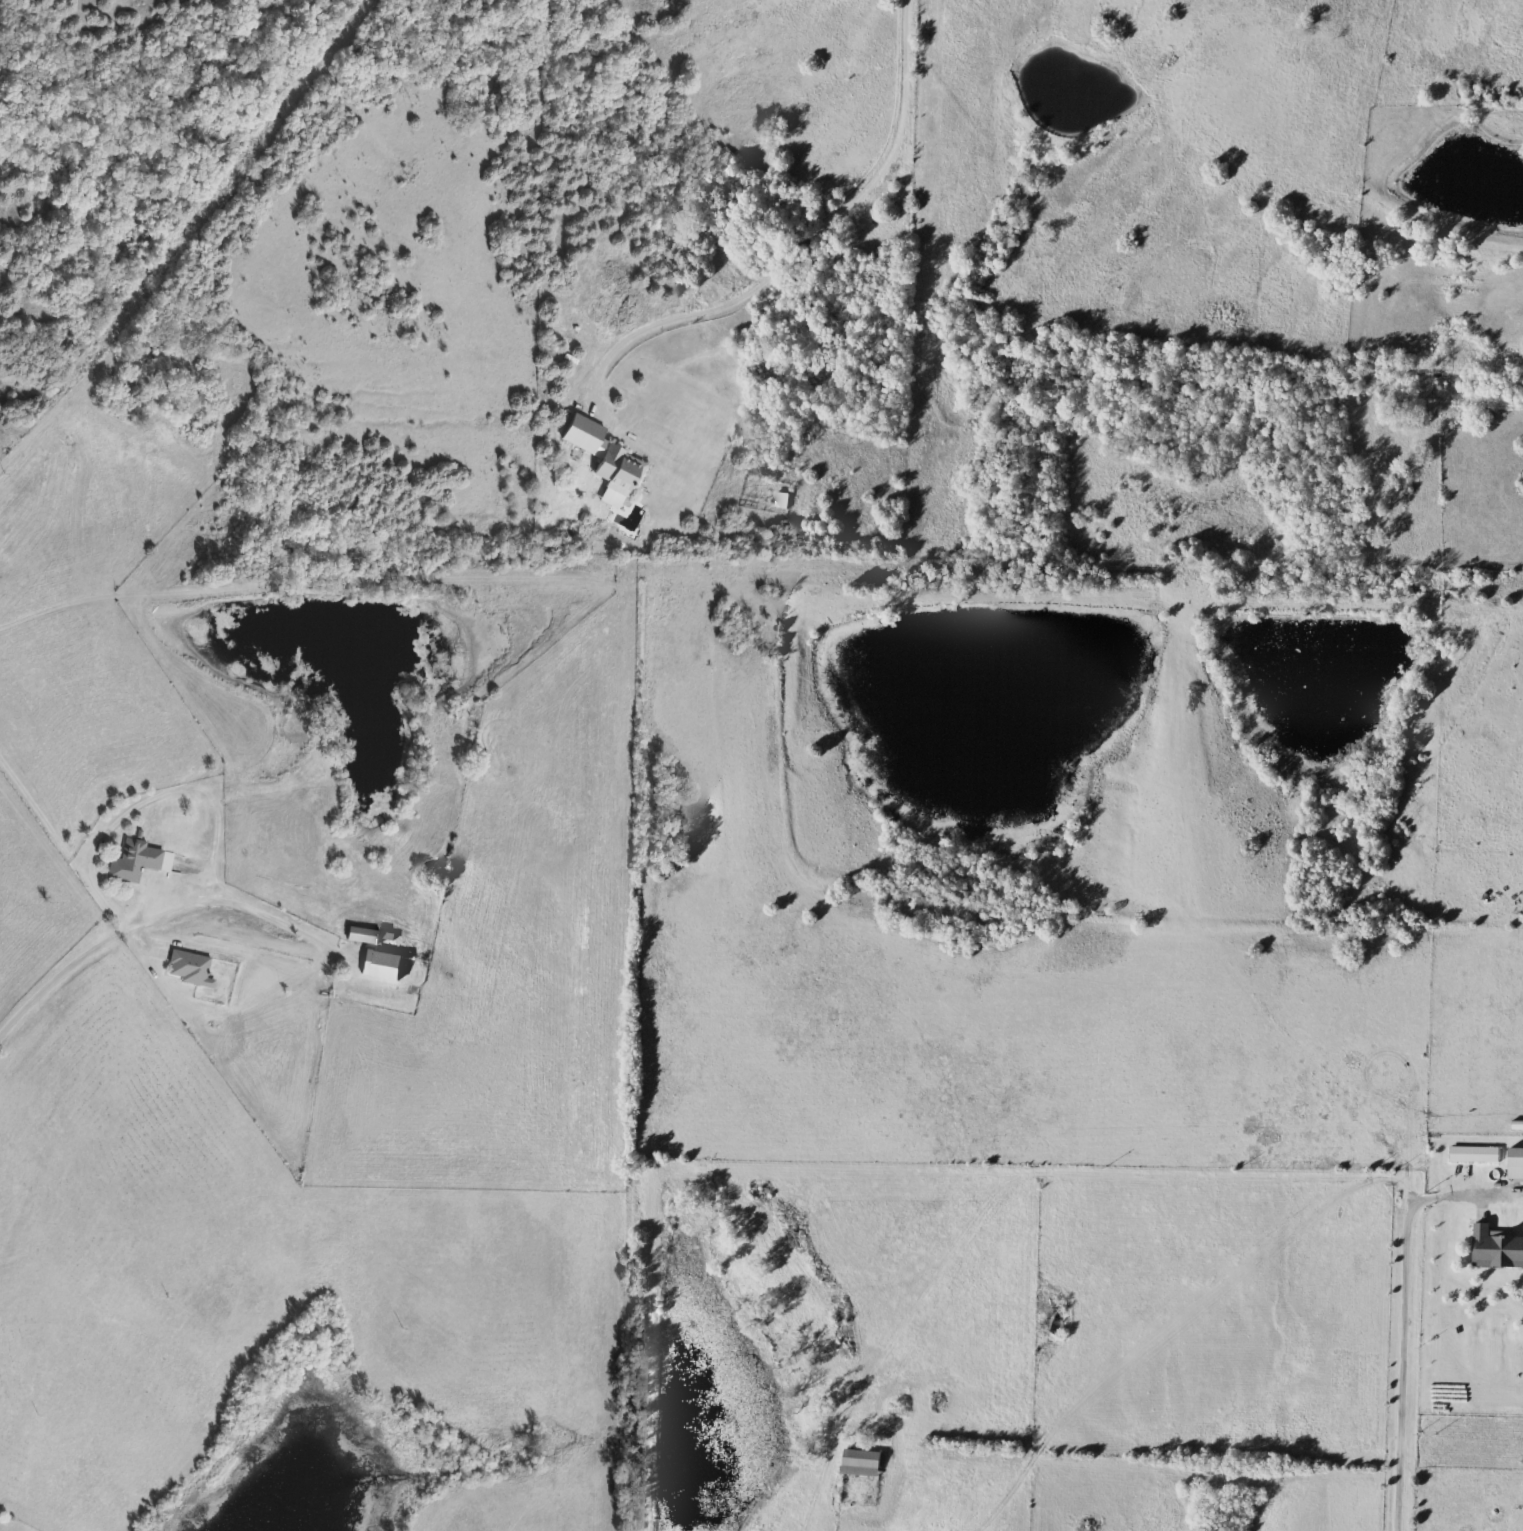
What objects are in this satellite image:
road: (812, 227)
building: (585, 435)
building: (621, 471)
building: (781, 500)
building: (138, 861)
road: (211, 900)
building: (368, 935)
building: (382, 965)
building: (190, 968)
road: (53, 980)
building: (1517, 1164)
building: (1496, 1248)
building: (1059, 1320)
road: (1399, 1372)
building: (863, 1463)

